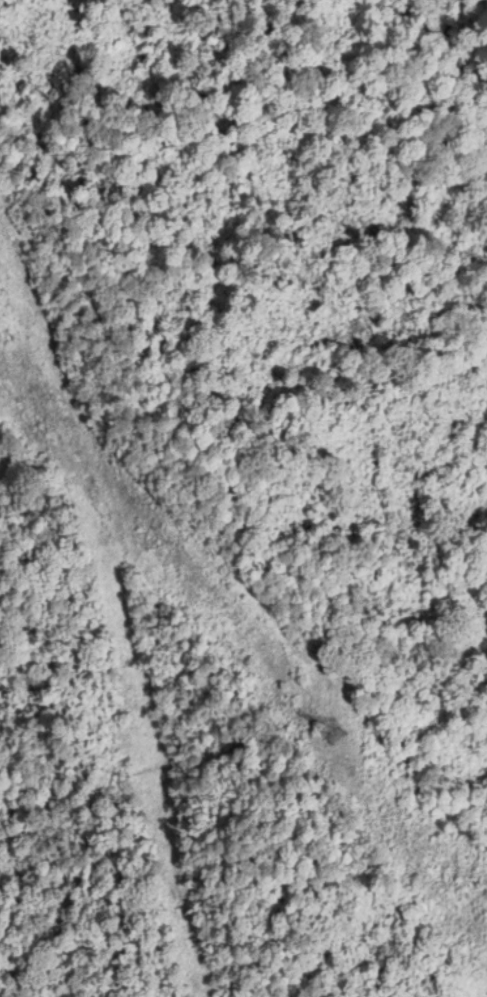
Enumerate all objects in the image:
power tower: (335, 733)

